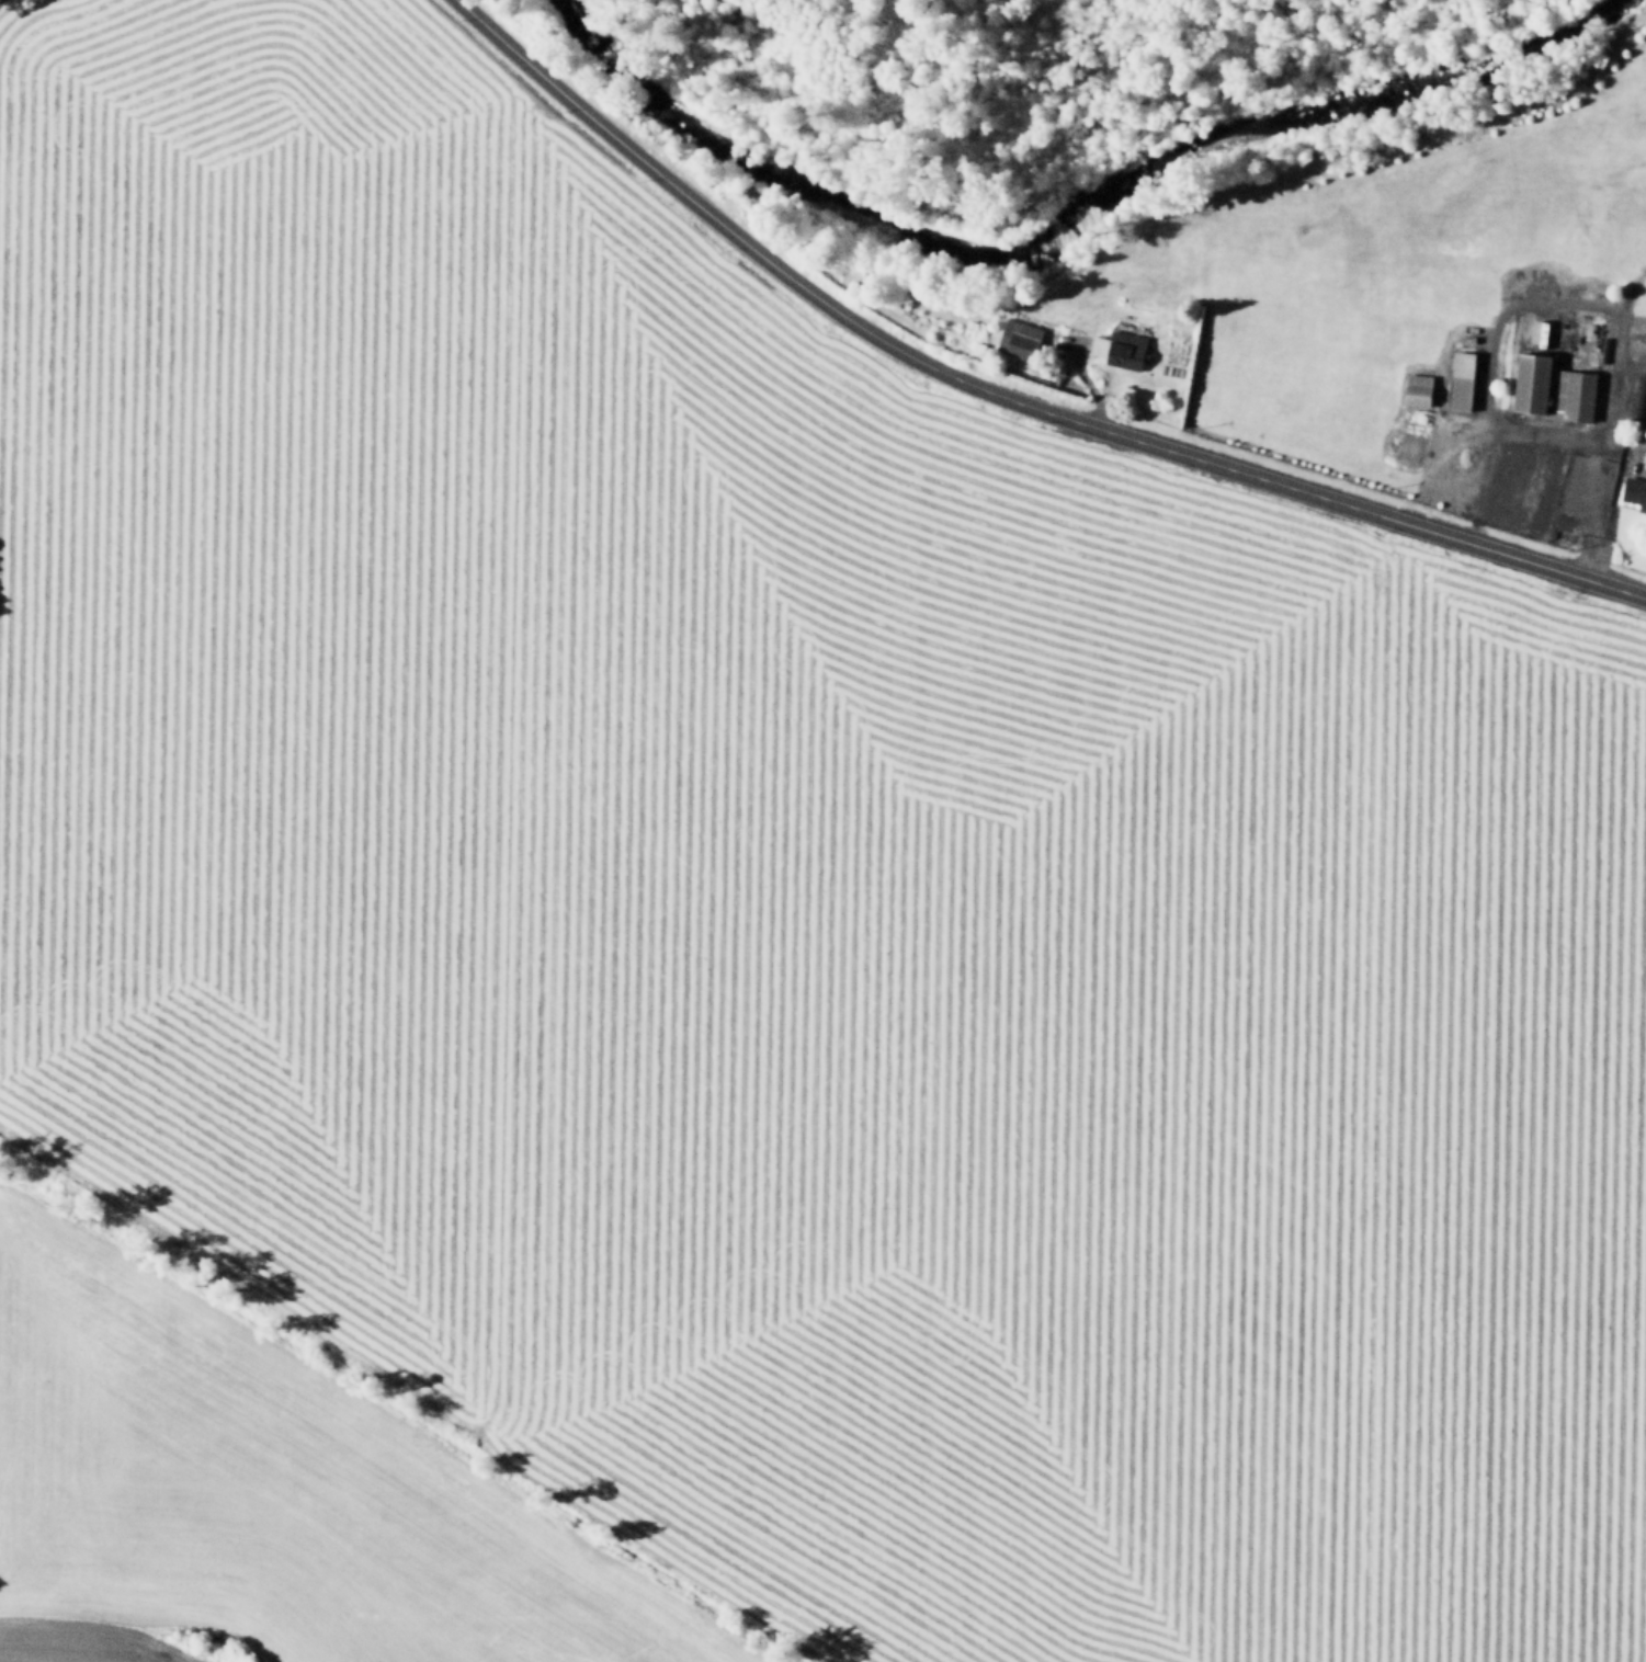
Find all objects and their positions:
river: (1054, 221)
road: (1587, 296)
building: (1455, 335)
building: (1014, 338)
building: (1642, 339)
building: (1123, 350)
building: (1453, 383)
building: (1553, 389)
building: (1409, 392)
road: (1003, 394)
road: (1484, 483)
building: (1631, 491)
crop: (258, 647)
crop: (915, 991)
crop: (1502, 1125)
crop: (269, 1492)

